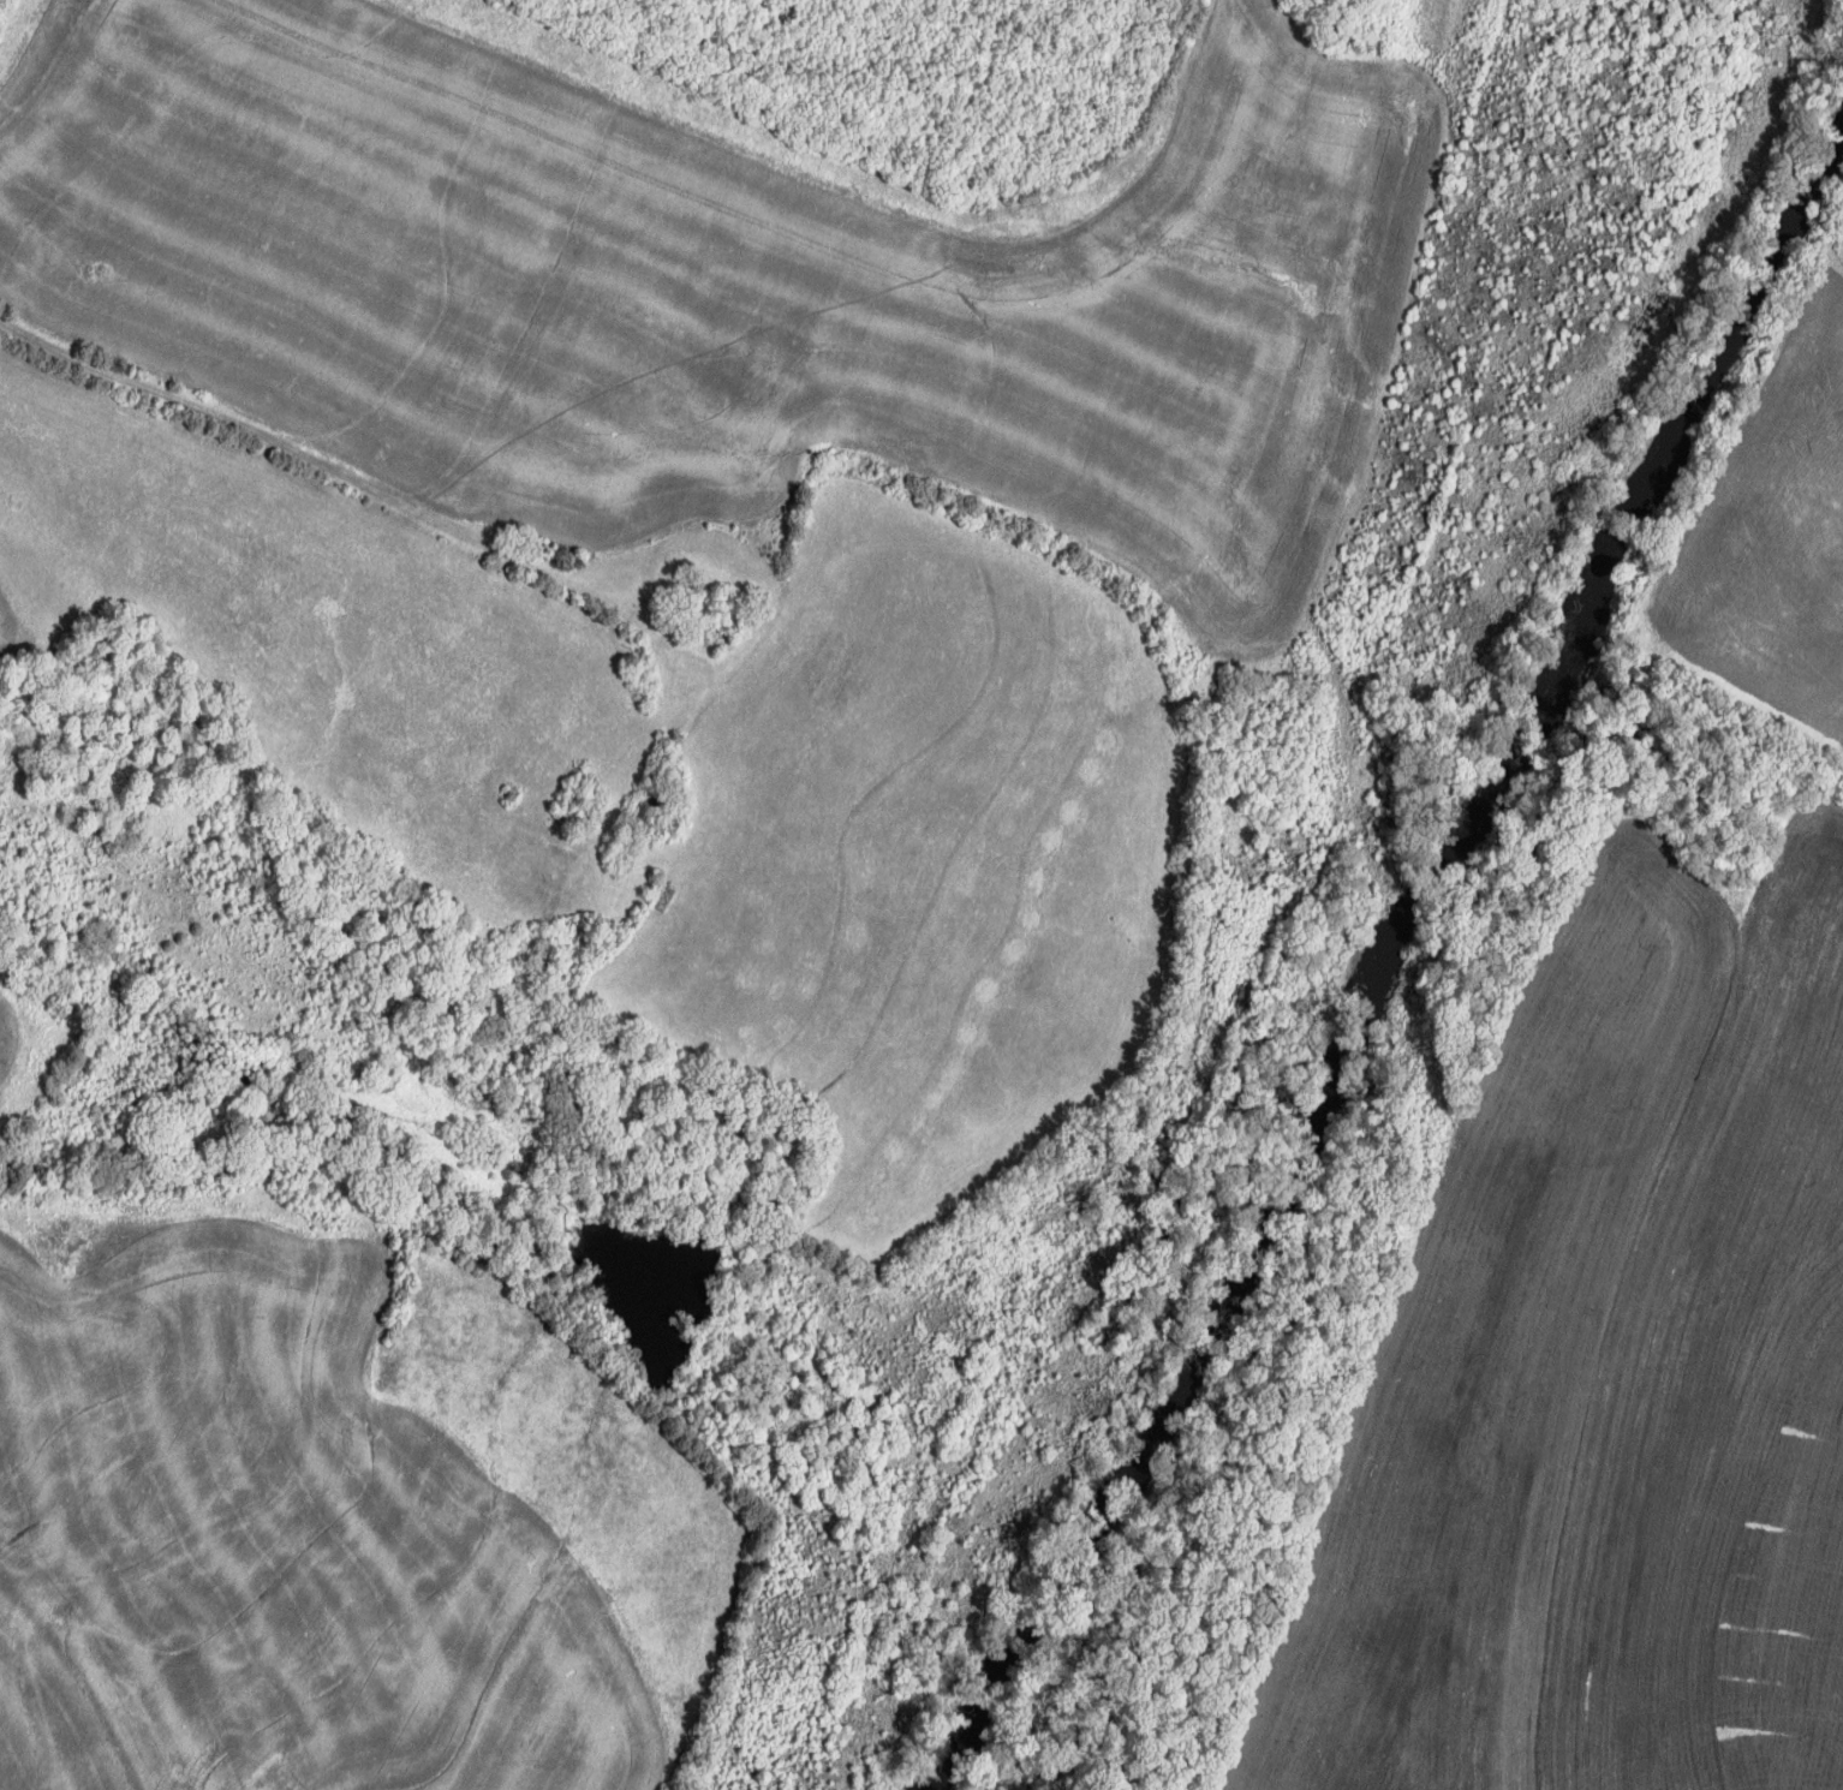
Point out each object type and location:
road: (461, 545)

